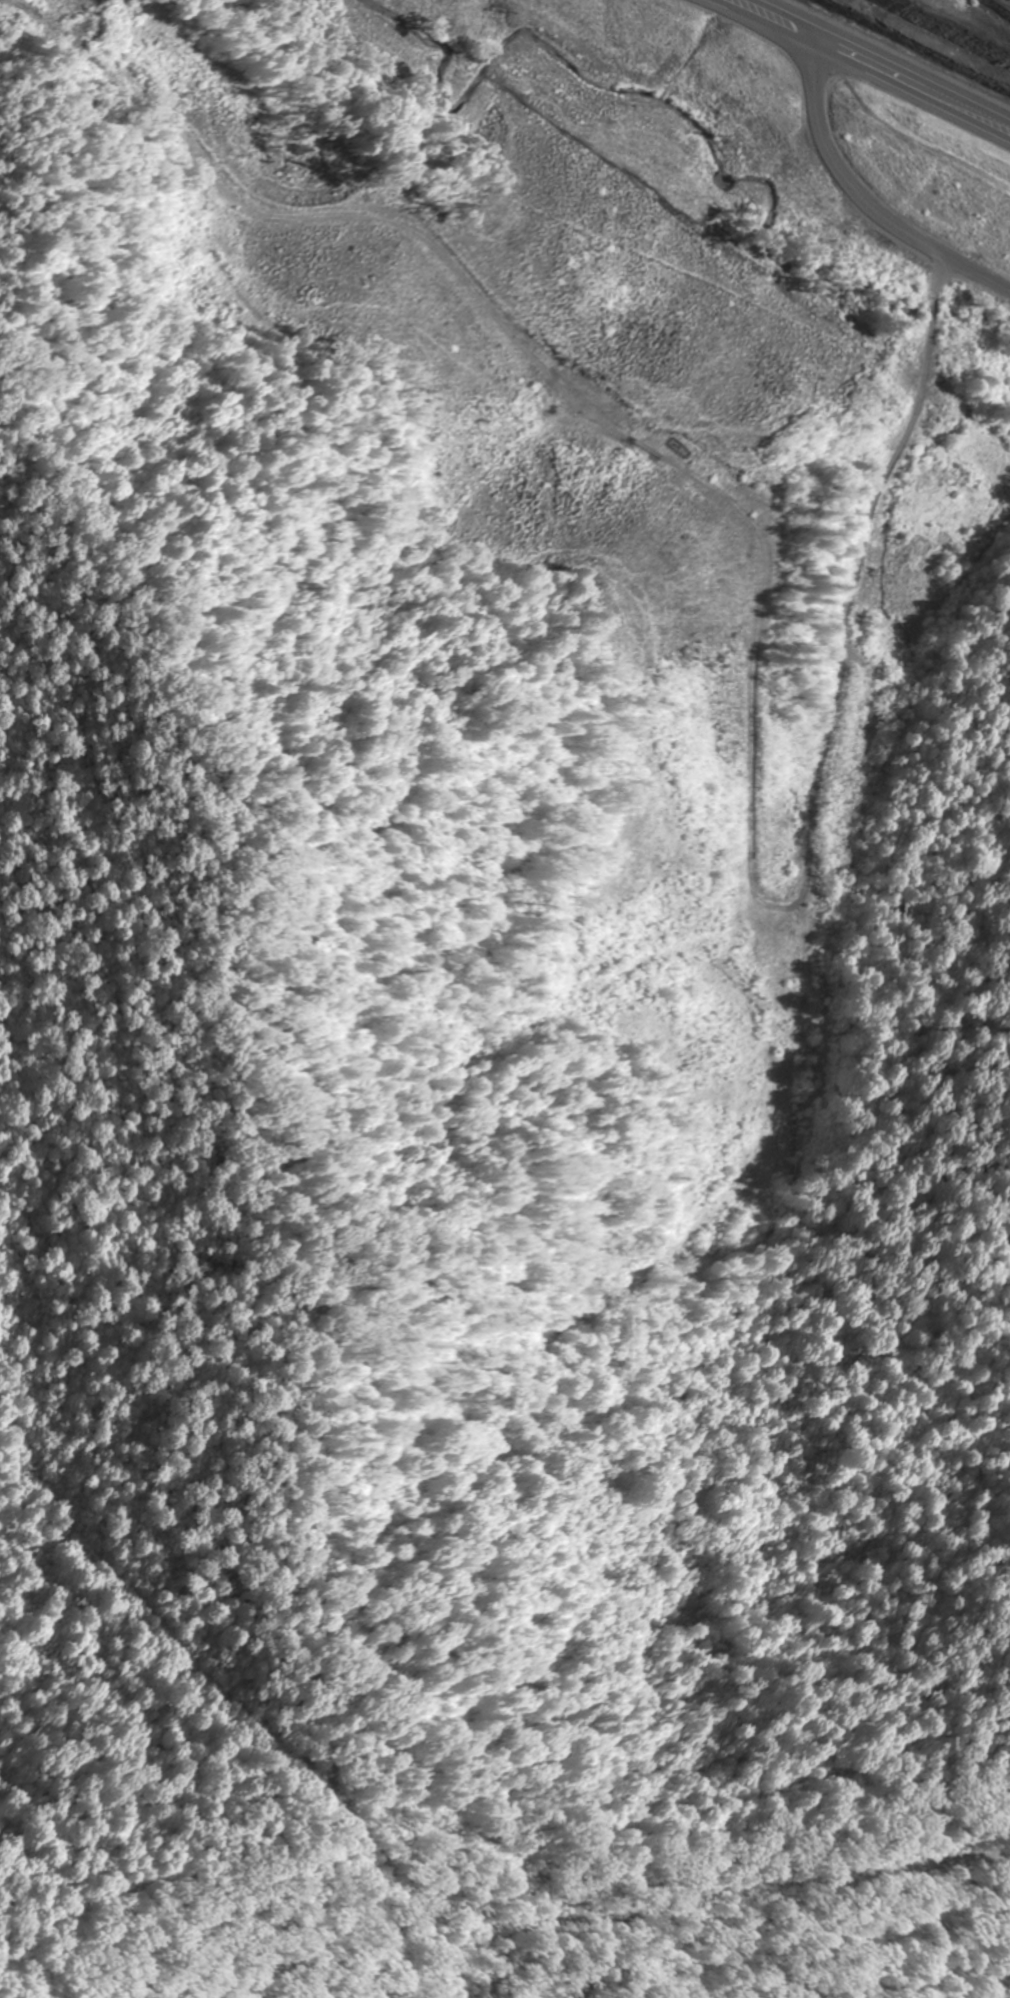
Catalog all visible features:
road: (899, 51)
road: (849, 191)

